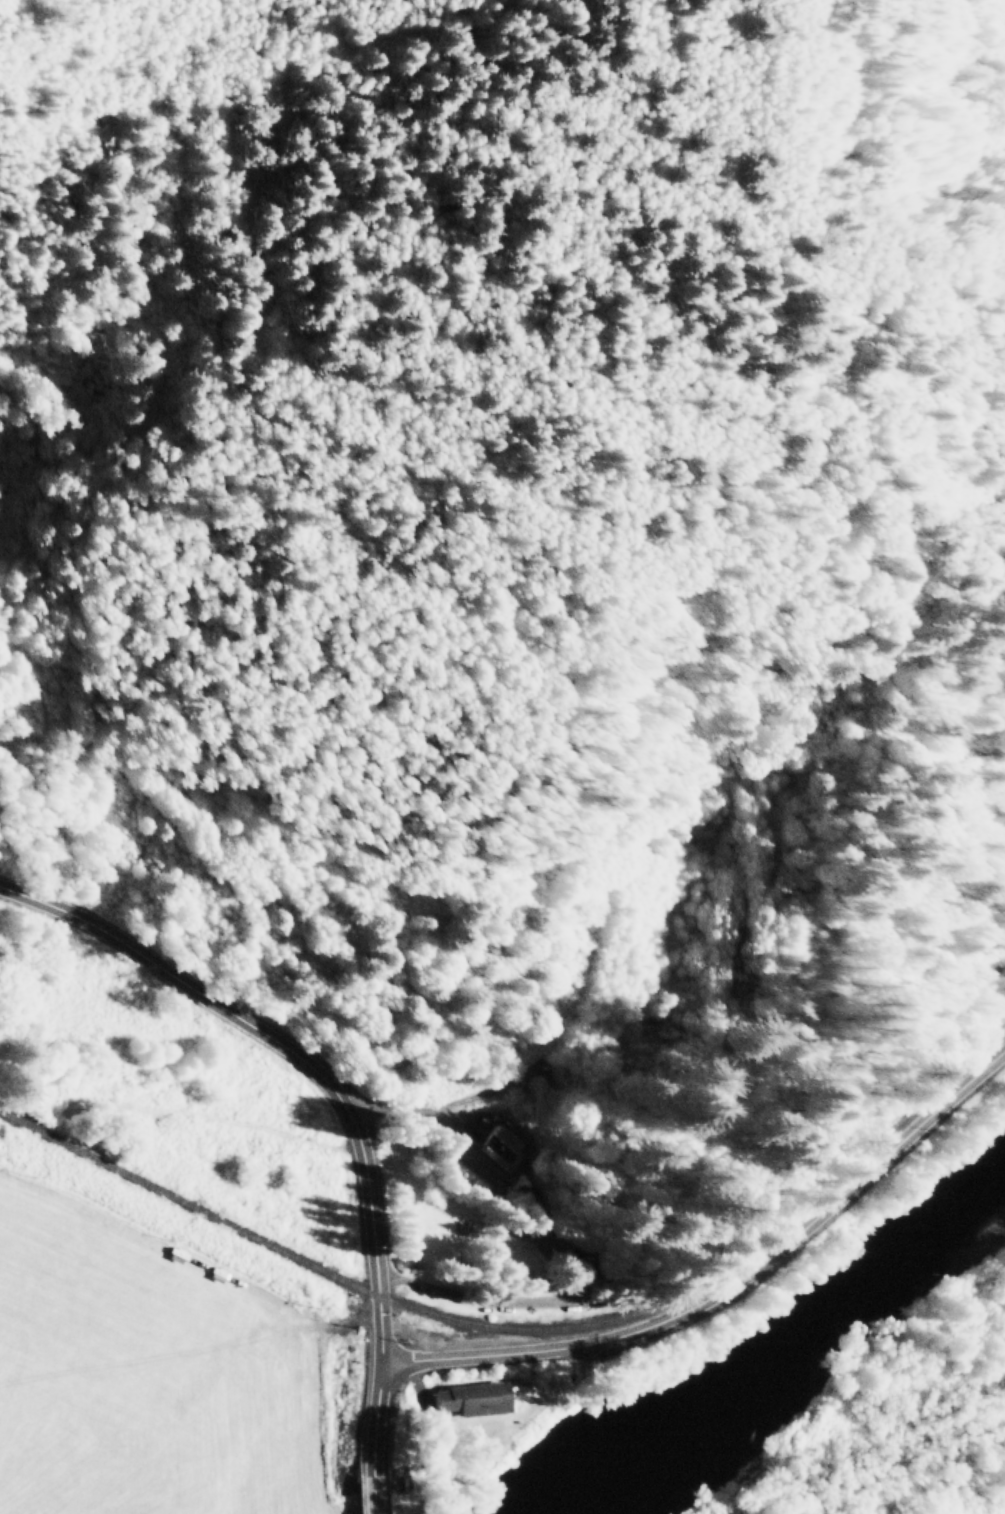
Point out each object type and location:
road: (254, 463)
road: (340, 1109)
building: (505, 1136)
road: (732, 1283)
railway: (531, 1328)
river: (779, 1350)
crop: (138, 1381)
building: (468, 1398)

